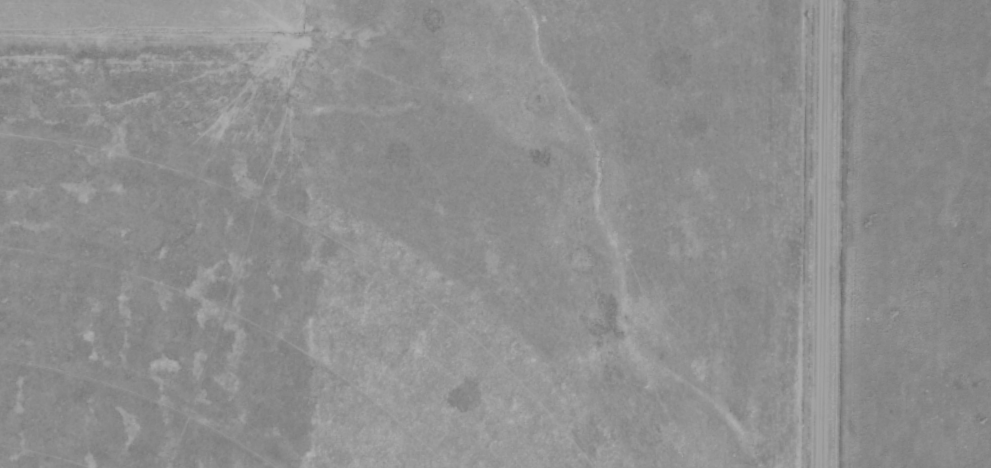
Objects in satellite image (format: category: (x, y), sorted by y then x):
road: (828, 234)

